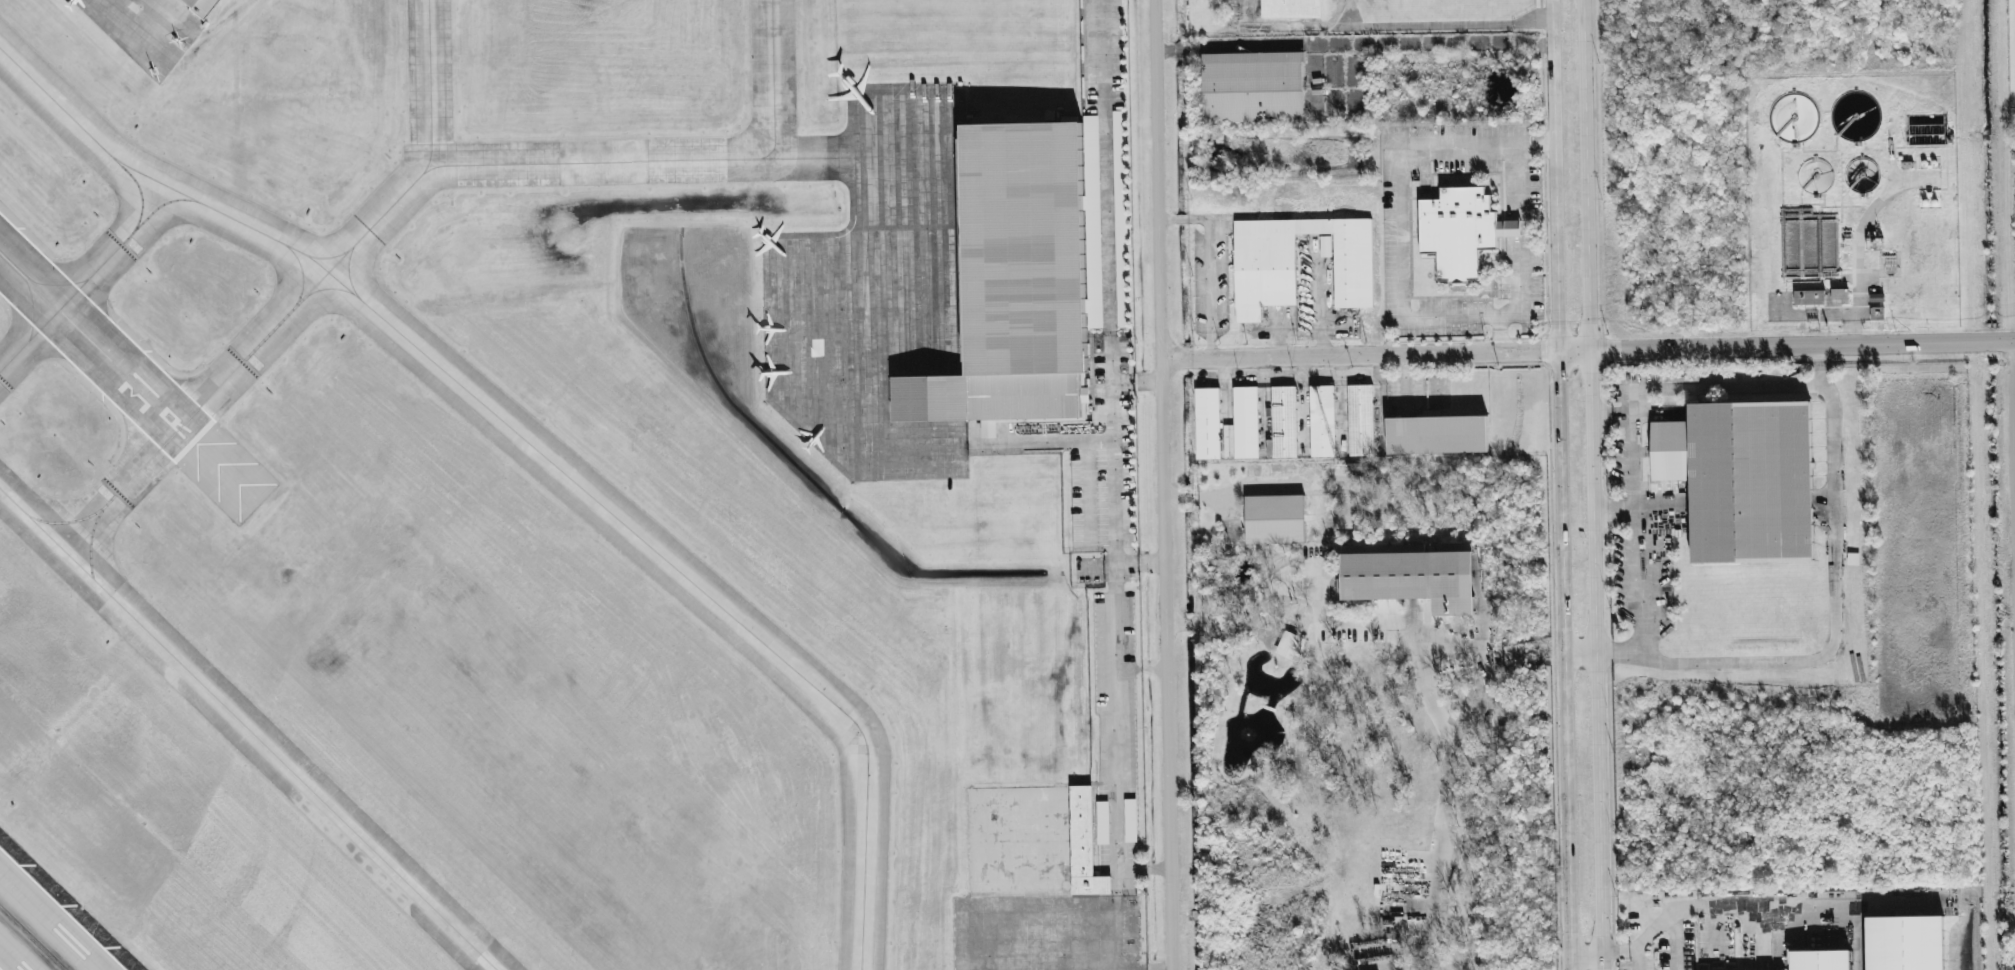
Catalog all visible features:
building: (197, 7)
building: (1291, 8)
airport apron: (149, 31)
road: (1354, 37)
airport taxiway: (773, 82)
airport taxiway: (430, 86)
building: (1254, 89)
airport taxiway: (637, 161)
road: (1895, 168)
airport taxiway: (140, 191)
building: (1120, 220)
road: (1399, 225)
building: (1461, 231)
road: (1865, 241)
road: (1526, 245)
building: (1325, 247)
road: (1218, 259)
airport taxiway: (94, 272)
building: (1267, 273)
road: (1107, 281)
building: (1017, 285)
building: (1839, 295)
building: (1809, 298)
parking lot: (1107, 300)
road: (1326, 302)
airport apron: (880, 303)
building: (1877, 307)
airport runway: (98, 347)
road: (1588, 353)
airport taxiway: (237, 367)
road: (1148, 382)
road: (1122, 383)
building: (1362, 422)
building: (1247, 424)
building: (1288, 424)
building: (1324, 424)
building: (1208, 425)
road: (1637, 430)
building: (1438, 438)
road: (1041, 442)
airport taxiway: (534, 447)
building: (1742, 480)
road: (1564, 484)
road: (1162, 485)
road: (1599, 485)
airport: (592, 486)
road: (1619, 506)
airport taxiway: (68, 521)
building: (1276, 522)
road: (1097, 563)
road: (1138, 563)
building: (1418, 584)
road: (1837, 615)
building: (1290, 647)
road: (1585, 652)
road: (1418, 675)
road: (1114, 725)
airport taxiway: (248, 728)
parking lot: (1119, 730)
building: (1506, 732)
building: (1130, 821)
building: (1102, 823)
building: (1031, 847)
road: (1131, 868)
road: (1157, 868)
road: (1702, 907)
airport apron: (1047, 934)
airport runway: (31, 939)
road: (1764, 939)
road: (1676, 942)
building: (1905, 943)
road: (1591, 954)
road: (1637, 958)
building: (1820, 960)

